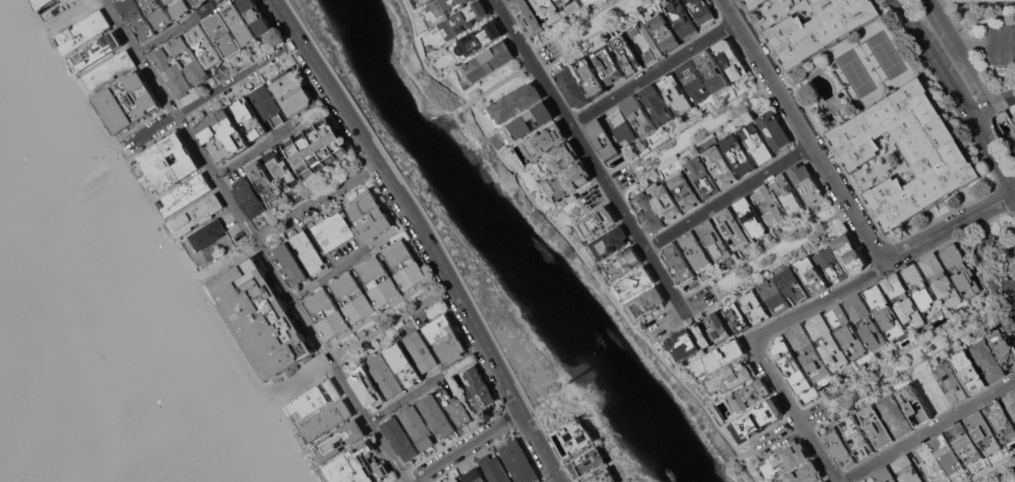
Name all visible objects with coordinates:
building: (423, 0)
building: (587, 1)
building: (199, 2)
road: (500, 2)
building: (43, 4)
building: (571, 5)
building: (180, 7)
building: (442, 7)
building: (550, 10)
road: (66, 11)
building: (701, 11)
building: (158, 12)
building: (256, 16)
building: (528, 16)
building: (137, 18)
building: (681, 18)
road: (951, 18)
building: (463, 19)
building: (240, 23)
building: (810, 23)
park: (590, 30)
road: (31, 31)
building: (83, 31)
building: (663, 32)
road: (168, 34)
building: (223, 34)
building: (476, 40)
building: (645, 42)
road: (290, 43)
building: (1000, 43)
building: (205, 45)
building: (97, 50)
building: (626, 53)
park: (886, 54)
road: (142, 56)
building: (730, 58)
building: (488, 61)
building: (195, 63)
building: (607, 64)
road: (33, 67)
road: (972, 69)
building: (712, 70)
building: (108, 71)
building: (171, 72)
road: (654, 73)
park: (855, 73)
building: (591, 77)
road: (230, 81)
building: (693, 81)
road: (498, 84)
building: (571, 87)
building: (293, 91)
building: (676, 93)
road: (960, 95)
road: (1004, 99)
building: (127, 101)
building: (516, 101)
building: (657, 104)
building: (269, 105)
road: (982, 108)
building: (639, 115)
building: (250, 117)
road: (695, 120)
building: (526, 122)
building: (621, 127)
road: (154, 128)
building: (774, 131)
building: (223, 135)
park: (689, 135)
building: (603, 138)
road: (698, 138)
building: (544, 140)
building: (756, 143)
road: (117, 146)
building: (316, 147)
road: (253, 150)
building: (903, 153)
building: (738, 154)
road: (592, 159)
building: (557, 160)
building: (167, 163)
road: (372, 165)
building: (720, 165)
building: (282, 169)
road: (633, 169)
building: (702, 177)
building: (264, 179)
building: (570, 181)
building: (806, 183)
building: (683, 189)
road: (842, 192)
building: (185, 194)
building: (787, 194)
road: (728, 196)
building: (248, 197)
building: (665, 201)
road: (309, 203)
road: (580, 203)
park: (579, 204)
building: (769, 205)
building: (648, 212)
building: (370, 214)
building: (196, 215)
building: (751, 217)
building: (597, 222)
building: (733, 228)
building: (333, 231)
building: (208, 234)
road: (426, 235)
building: (715, 240)
road: (571, 242)
building: (609, 242)
road: (773, 243)
road: (153, 249)
road: (993, 251)
building: (309, 252)
building: (697, 252)
building: (849, 253)
building: (382, 256)
park: (763, 259)
road: (775, 261)
road: (231, 262)
building: (622, 262)
building: (290, 263)
building: (679, 263)
building: (831, 263)
building: (405, 264)
building: (961, 269)
building: (356, 272)
road: (329, 274)
building: (811, 274)
building: (379, 280)
building: (941, 280)
road: (436, 281)
building: (635, 282)
building: (793, 285)
road: (447, 286)
building: (330, 289)
road: (713, 289)
building: (922, 290)
building: (774, 295)
road: (292, 297)
building: (353, 297)
road: (821, 300)
building: (903, 301)
building: (647, 303)
building: (755, 306)
building: (884, 311)
building: (327, 313)
building: (737, 317)
building: (261, 318)
building: (866, 322)
road: (385, 325)
building: (718, 326)
building: (440, 328)
road: (666, 332)
building: (847, 332)
building: (702, 334)
road: (237, 338)
building: (827, 341)
building: (682, 344)
building: (1004, 344)
building: (452, 348)
building: (421, 350)
building: (808, 352)
building: (718, 357)
building: (988, 360)
building: (790, 363)
building: (404, 364)
building: (969, 371)
road: (306, 375)
building: (386, 375)
building: (733, 377)
building: (950, 382)
building: (367, 387)
building: (479, 389)
road: (856, 389)
road: (277, 393)
building: (749, 395)
road: (402, 399)
building: (313, 400)
building: (1011, 401)
building: (914, 404)
building: (455, 407)
road: (795, 411)
building: (436, 414)
building: (895, 415)
building: (759, 416)
building: (326, 420)
building: (1001, 420)
building: (417, 426)
building: (877, 426)
road: (927, 430)
building: (984, 432)
building: (858, 436)
building: (399, 437)
building: (573, 437)
road: (282, 440)
building: (338, 440)
building: (965, 443)
road: (463, 446)
building: (840, 447)
building: (947, 454)
building: (785, 458)
building: (519, 462)
building: (588, 462)
building: (358, 465)
building: (494, 469)
building: (907, 469)
building: (804, 474)
building: (885, 474)
road: (1001, 474)
building: (475, 475)
building: (603, 476)
building: (454, 479)
road: (555, 480)
building: (461, 481)
building: (826, 481)

